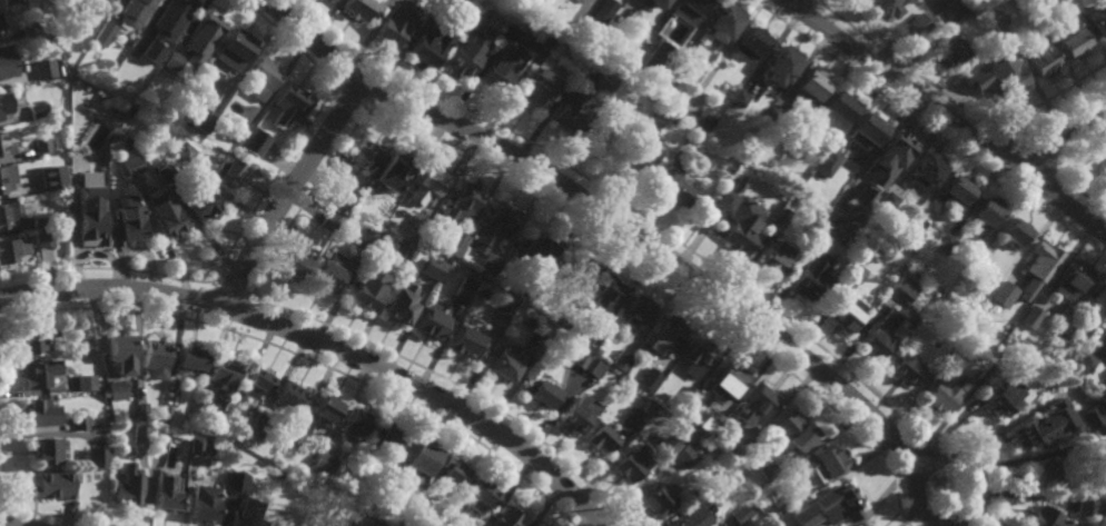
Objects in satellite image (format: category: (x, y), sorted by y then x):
building: (9, 1)
building: (49, 1)
building: (108, 1)
building: (1024, 1)
road: (761, 2)
building: (656, 3)
building: (885, 8)
building: (358, 9)
road: (800, 9)
building: (689, 10)
building: (136, 11)
building: (178, 11)
building: (79, 12)
building: (601, 13)
building: (949, 13)
building: (995, 13)
road: (790, 21)
building: (1094, 21)
building: (723, 23)
building: (1, 26)
building: (918, 26)
building: (392, 28)
building: (29, 30)
building: (148, 33)
building: (103, 34)
building: (204, 38)
building: (1066, 38)
road: (286, 41)
building: (544, 43)
building: (750, 44)
building: (424, 46)
building: (467, 46)
building: (234, 50)
building: (949, 53)
building: (989, 53)
building: (682, 57)
building: (655, 59)
building: (1037, 59)
building: (504, 61)
building: (172, 62)
building: (7, 63)
building: (781, 66)
building: (43, 69)
road: (344, 71)
road: (911, 71)
building: (263, 76)
building: (1006, 77)
building: (540, 83)
building: (602, 83)
building: (810, 88)
road: (372, 93)
road: (346, 95)
building: (740, 97)
road: (1049, 99)
building: (290, 100)
building: (3, 105)
building: (841, 107)
building: (38, 111)
building: (655, 113)
building: (571, 115)
building: (176, 116)
building: (772, 116)
road: (946, 118)
building: (0, 119)
building: (197, 119)
building: (673, 119)
building: (701, 119)
building: (868, 128)
building: (234, 129)
road: (929, 130)
road: (987, 132)
road: (1059, 137)
building: (250, 141)
building: (6, 142)
building: (800, 142)
road: (978, 143)
building: (45, 145)
building: (182, 150)
building: (365, 153)
road: (968, 155)
building: (644, 158)
road: (1029, 158)
road: (1076, 158)
building: (679, 160)
building: (829, 161)
building: (132, 163)
building: (1104, 165)
building: (927, 167)
building: (394, 168)
building: (165, 170)
building: (226, 170)
building: (78, 172)
building: (7, 176)
building: (732, 179)
building: (49, 181)
building: (427, 182)
road: (1063, 182)
road: (274, 183)
building: (958, 187)
building: (675, 189)
road: (288, 193)
road: (1070, 193)
building: (344, 196)
building: (200, 199)
road: (305, 200)
road: (1089, 201)
building: (887, 202)
road: (1061, 204)
building: (985, 211)
building: (8, 214)
building: (165, 214)
building: (457, 214)
road: (606, 214)
road: (1053, 216)
building: (41, 218)
building: (739, 220)
building: (328, 221)
building: (416, 221)
building: (127, 222)
building: (779, 222)
building: (88, 226)
building: (494, 226)
building: (830, 230)
building: (1015, 230)
building: (368, 235)
building: (45, 237)
building: (909, 237)
road: (675, 242)
building: (946, 244)
building: (12, 248)
building: (402, 249)
building: (533, 249)
building: (778, 258)
building: (1041, 259)
building: (296, 262)
building: (487, 262)
building: (432, 266)
road: (106, 267)
building: (974, 267)
building: (856, 271)
building: (329, 272)
building: (572, 275)
building: (813, 277)
building: (1073, 279)
road: (664, 281)
building: (368, 287)
building: (905, 287)
building: (463, 288)
road: (233, 289)
building: (524, 289)
building: (1003, 292)
building: (604, 297)
building: (1099, 301)
road: (207, 304)
building: (401, 304)
building: (639, 309)
building: (498, 311)
building: (581, 314)
building: (847, 314)
building: (1030, 316)
road: (247, 317)
building: (557, 318)
building: (432, 322)
building: (600, 330)
building: (1060, 333)
building: (669, 334)
building: (883, 334)
building: (34, 337)
building: (464, 343)
building: (533, 343)
road: (324, 344)
building: (1021, 348)
building: (1007, 349)
building: (119, 353)
building: (629, 354)
building: (155, 356)
building: (699, 357)
building: (189, 359)
building: (621, 360)
road: (305, 361)
building: (1086, 361)
building: (503, 364)
building: (589, 365)
building: (909, 370)
building: (39, 371)
building: (224, 373)
building: (659, 373)
building: (649, 379)
building: (731, 379)
building: (86, 383)
building: (257, 383)
road: (453, 386)
building: (945, 388)
building: (116, 390)
building: (541, 393)
building: (689, 393)
building: (292, 396)
building: (1007, 396)
building: (171, 399)
building: (199, 404)
building: (758, 405)
building: (326, 409)
building: (141, 411)
building: (42, 414)
building: (227, 414)
building: (577, 414)
building: (636, 417)
building: (1093, 418)
building: (81, 421)
building: (710, 421)
building: (358, 424)
building: (1044, 427)
building: (257, 428)
building: (794, 430)
building: (140, 434)
building: (159, 436)
building: (296, 436)
building: (601, 438)
building: (389, 439)
building: (199, 445)
building: (712, 446)
building: (1098, 448)
building: (730, 449)
building: (48, 451)
building: (666, 455)
building: (685, 456)
building: (97, 457)
building: (424, 457)
building: (831, 459)
building: (324, 464)
building: (629, 467)
building: (358, 470)
building: (768, 470)
building: (452, 474)
building: (1057, 475)
building: (235, 482)
building: (53, 486)
building: (129, 487)
building: (700, 490)
building: (388, 493)
building: (481, 493)
building: (166, 494)
building: (796, 497)
building: (659, 500)
building: (839, 502)
road: (917, 503)
building: (204, 504)
road: (1, 506)
building: (419, 506)
building: (752, 507)
building: (1087, 507)
building: (343, 514)
road: (45, 515)
building: (741, 515)
building: (803, 516)
building: (506, 517)
building: (694, 518)
building: (1047, 518)
building: (240, 520)
building: (308, 522)
building: (445, 522)
road: (7, 524)
building: (271, 524)
building: (376, 525)
building: (868, 525)

